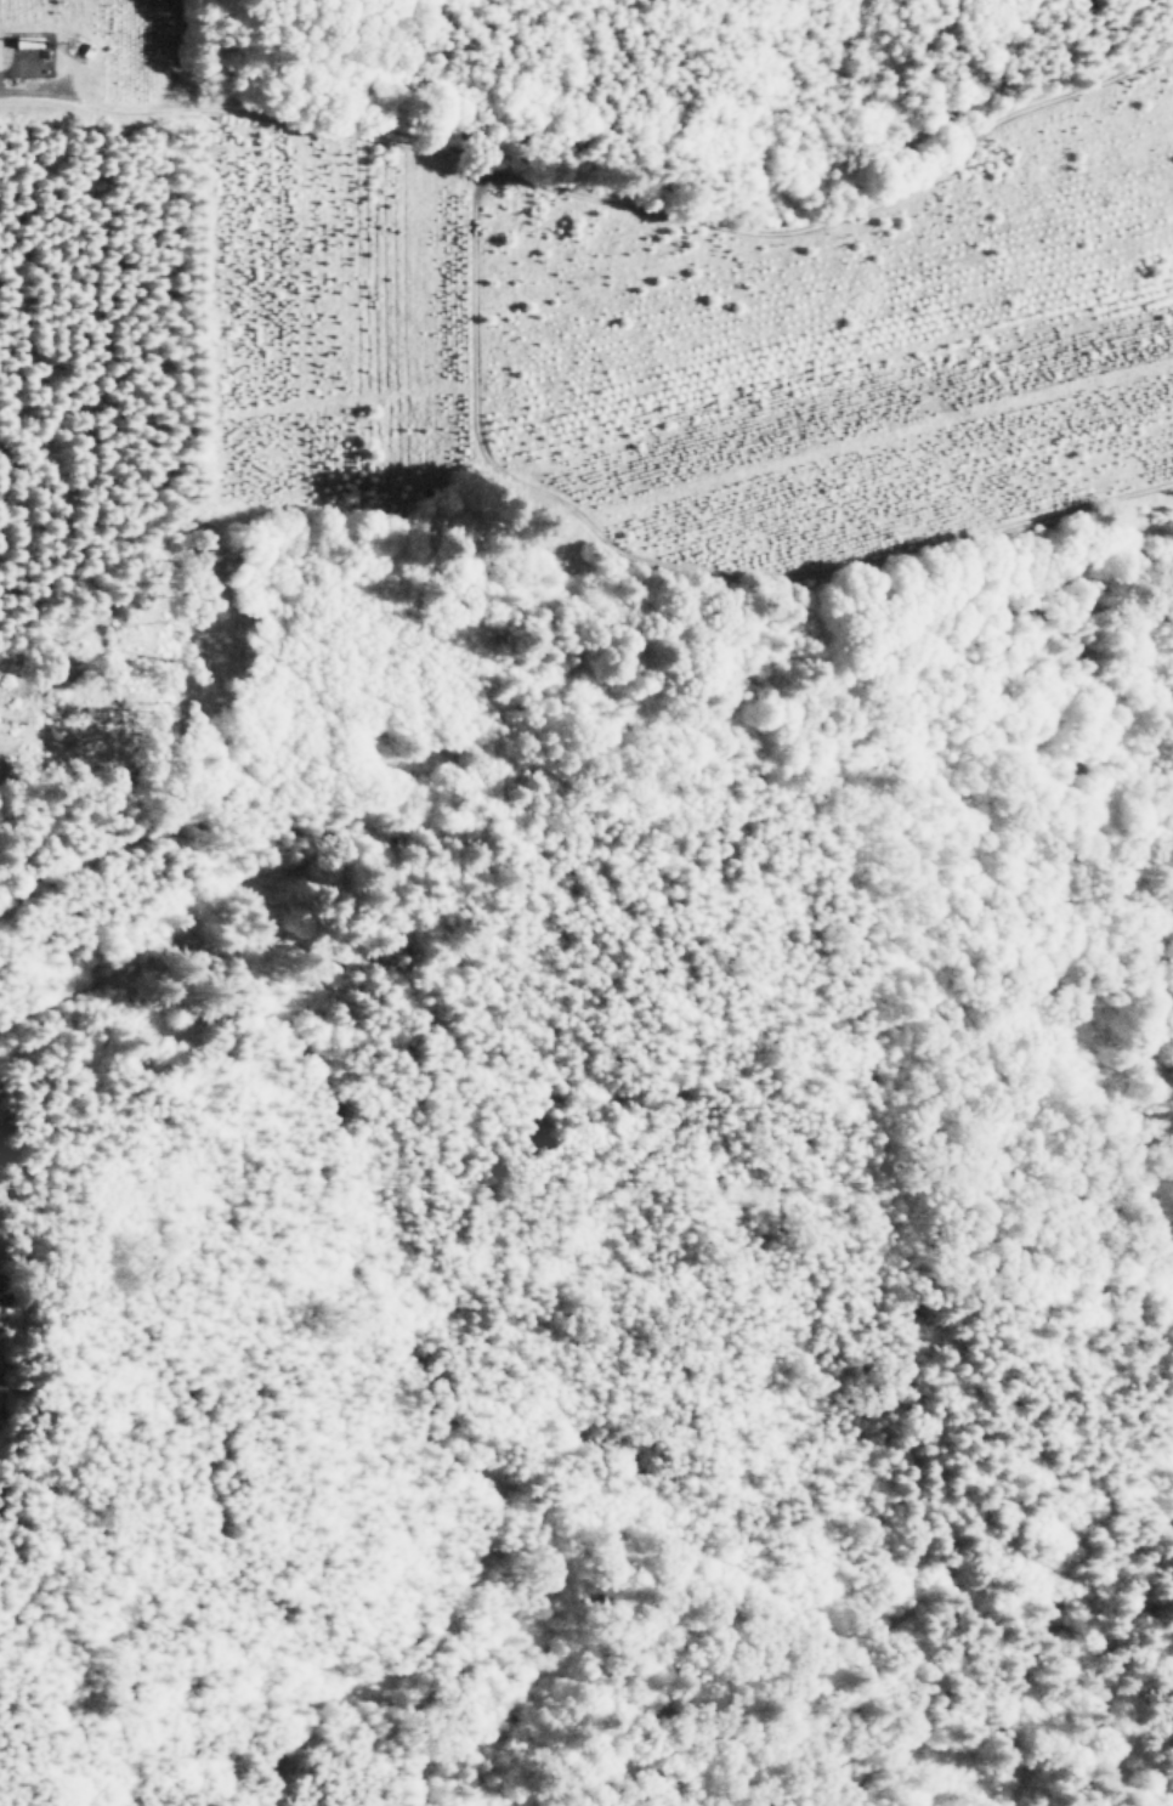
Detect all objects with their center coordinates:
road: (601, 196)

